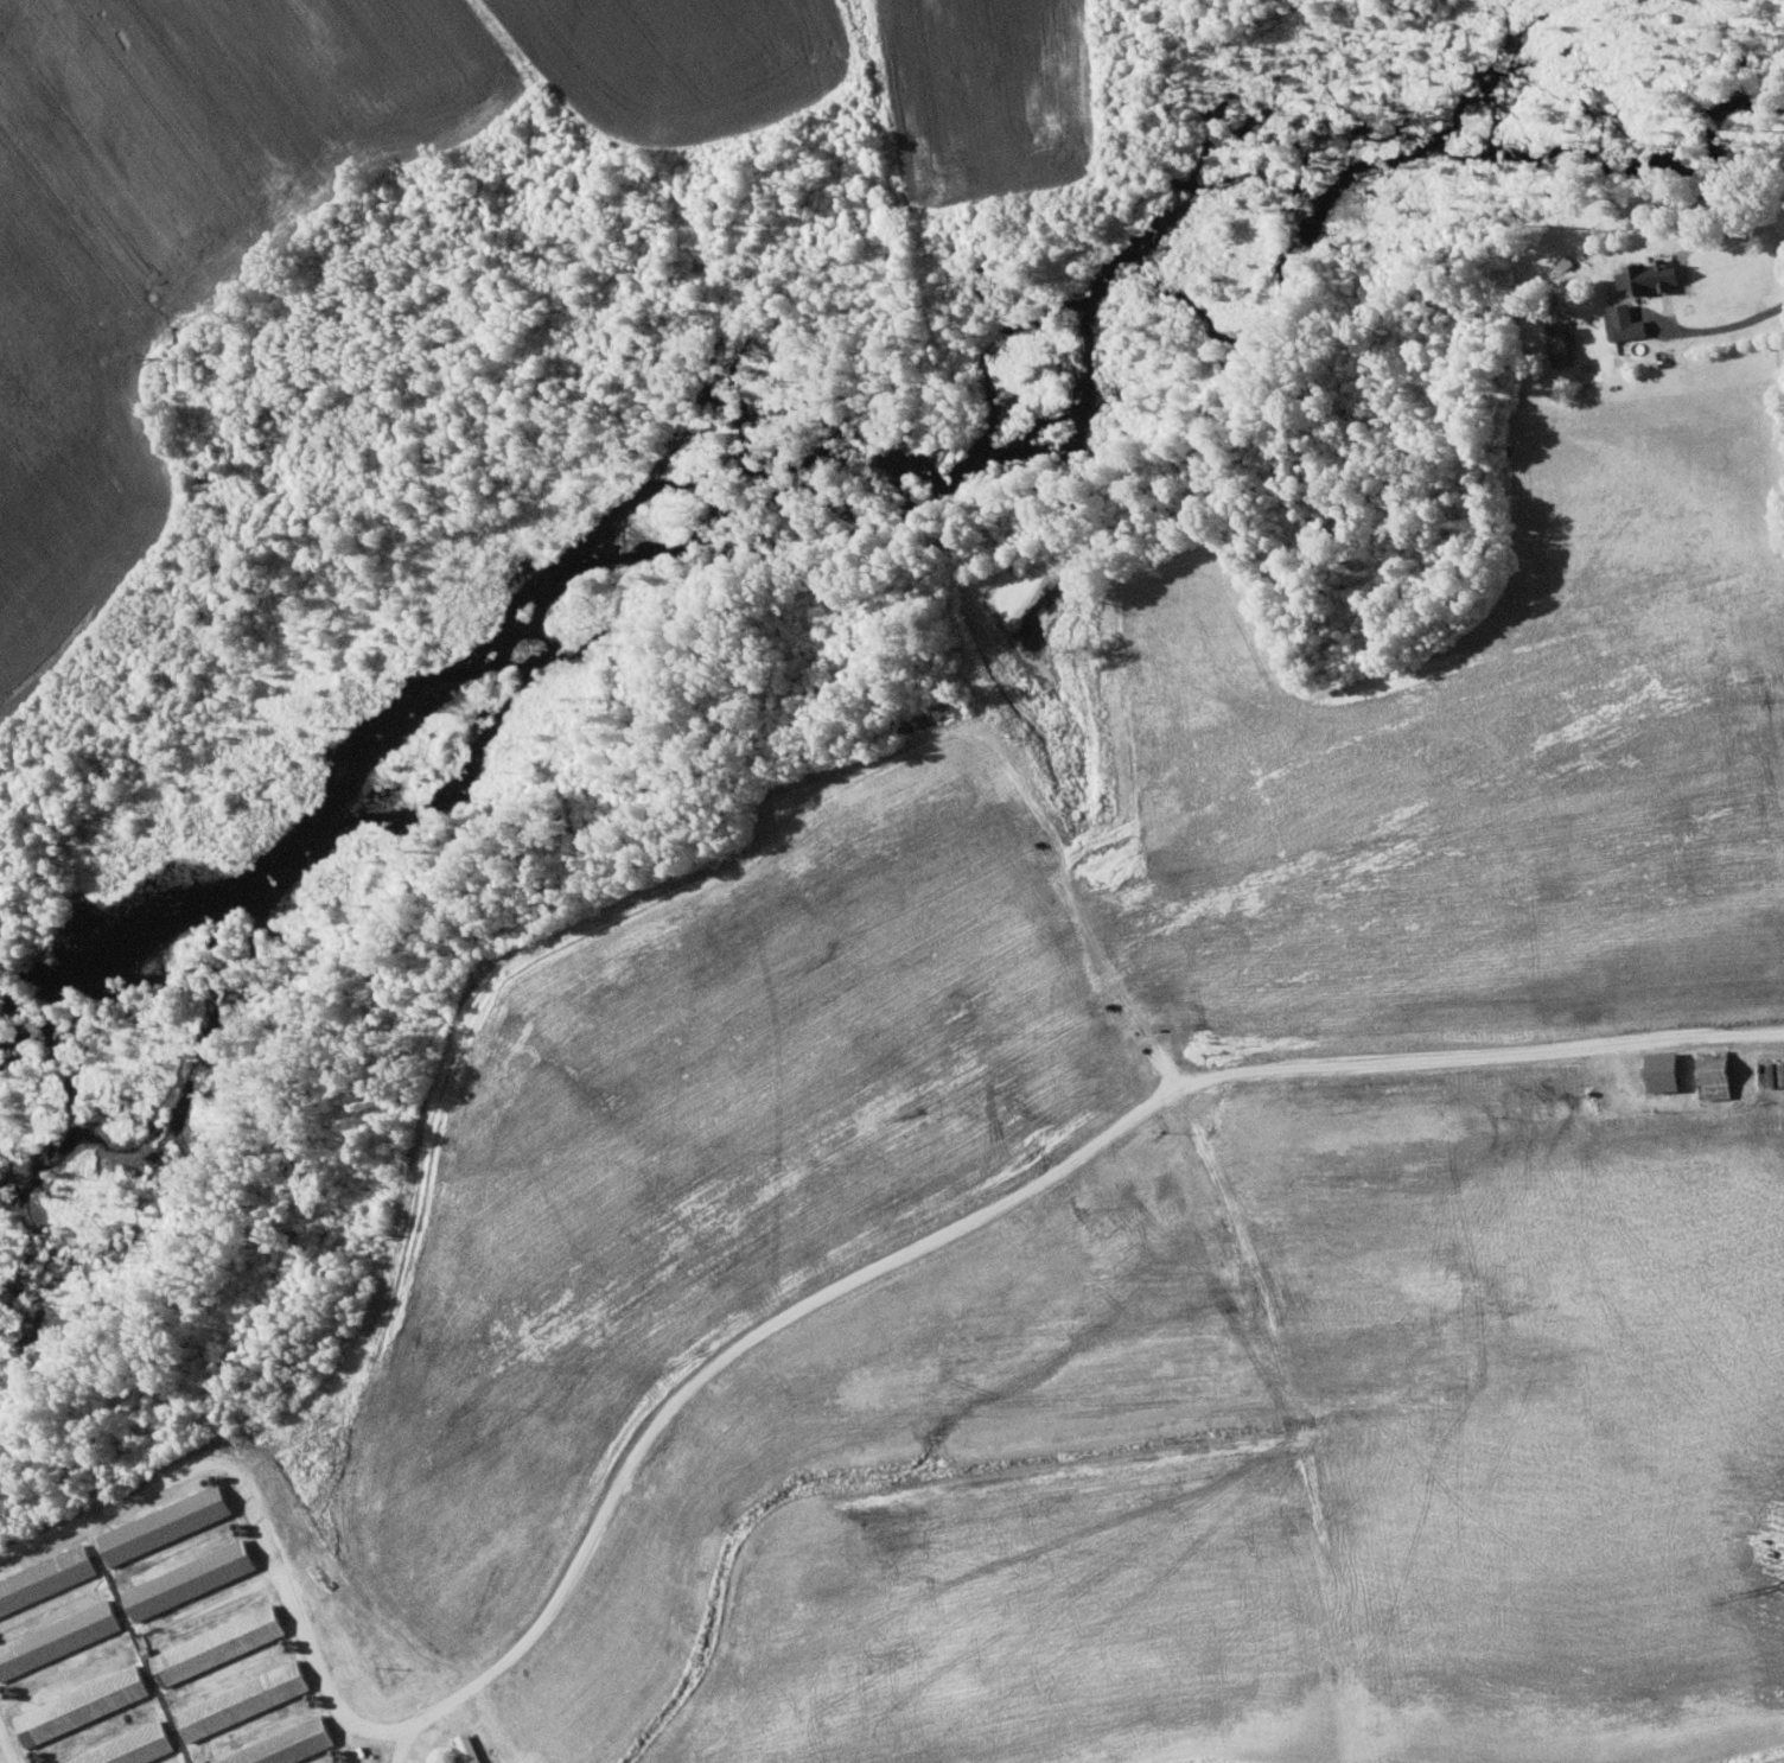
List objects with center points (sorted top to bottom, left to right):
building: (1650, 278)
road: (1724, 319)
building: (1624, 323)
building: (1559, 343)
road: (1553, 1044)
building: (1665, 1073)
building: (1716, 1075)
building: (165, 1525)
building: (46, 1579)
building: (190, 1579)
building: (58, 1638)
building: (218, 1644)
building: (243, 1700)
building: (83, 1705)
building: (283, 1746)
building: (469, 1748)
building: (130, 1749)
road: (1772, 1759)

